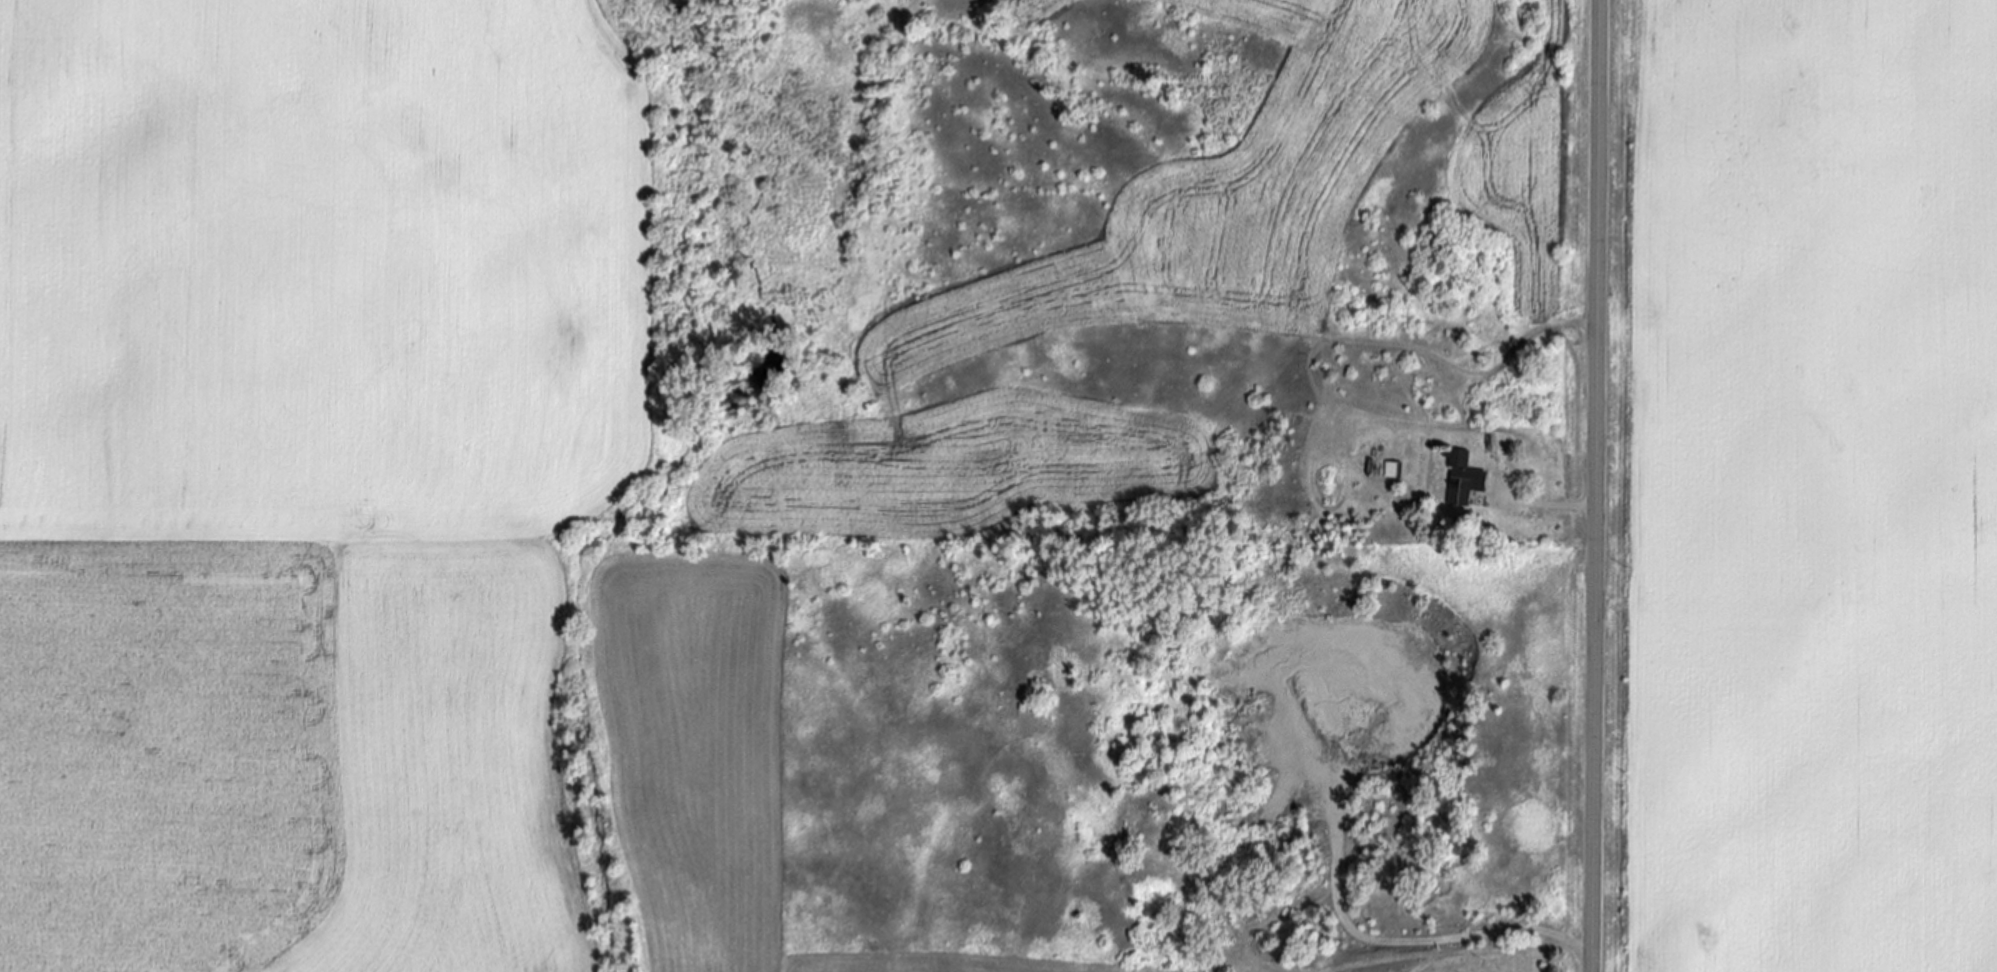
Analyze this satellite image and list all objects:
building: (1465, 477)
road: (1596, 486)
road: (1555, 504)
road: (1359, 939)

